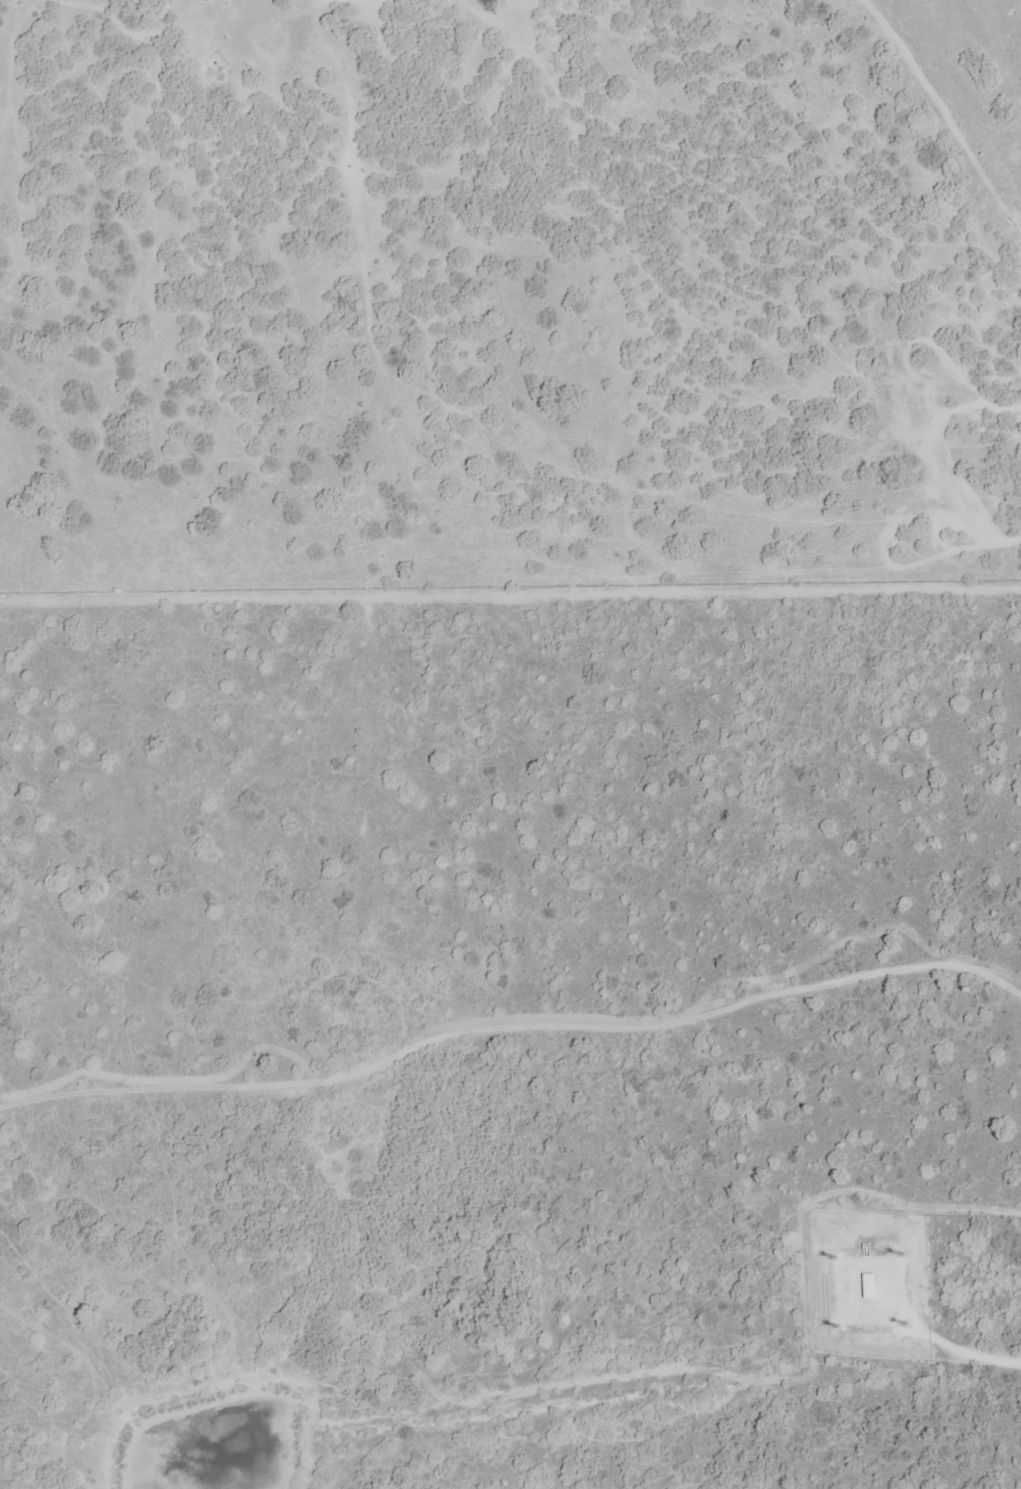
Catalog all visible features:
building: (871, 1285)
road: (954, 1350)

